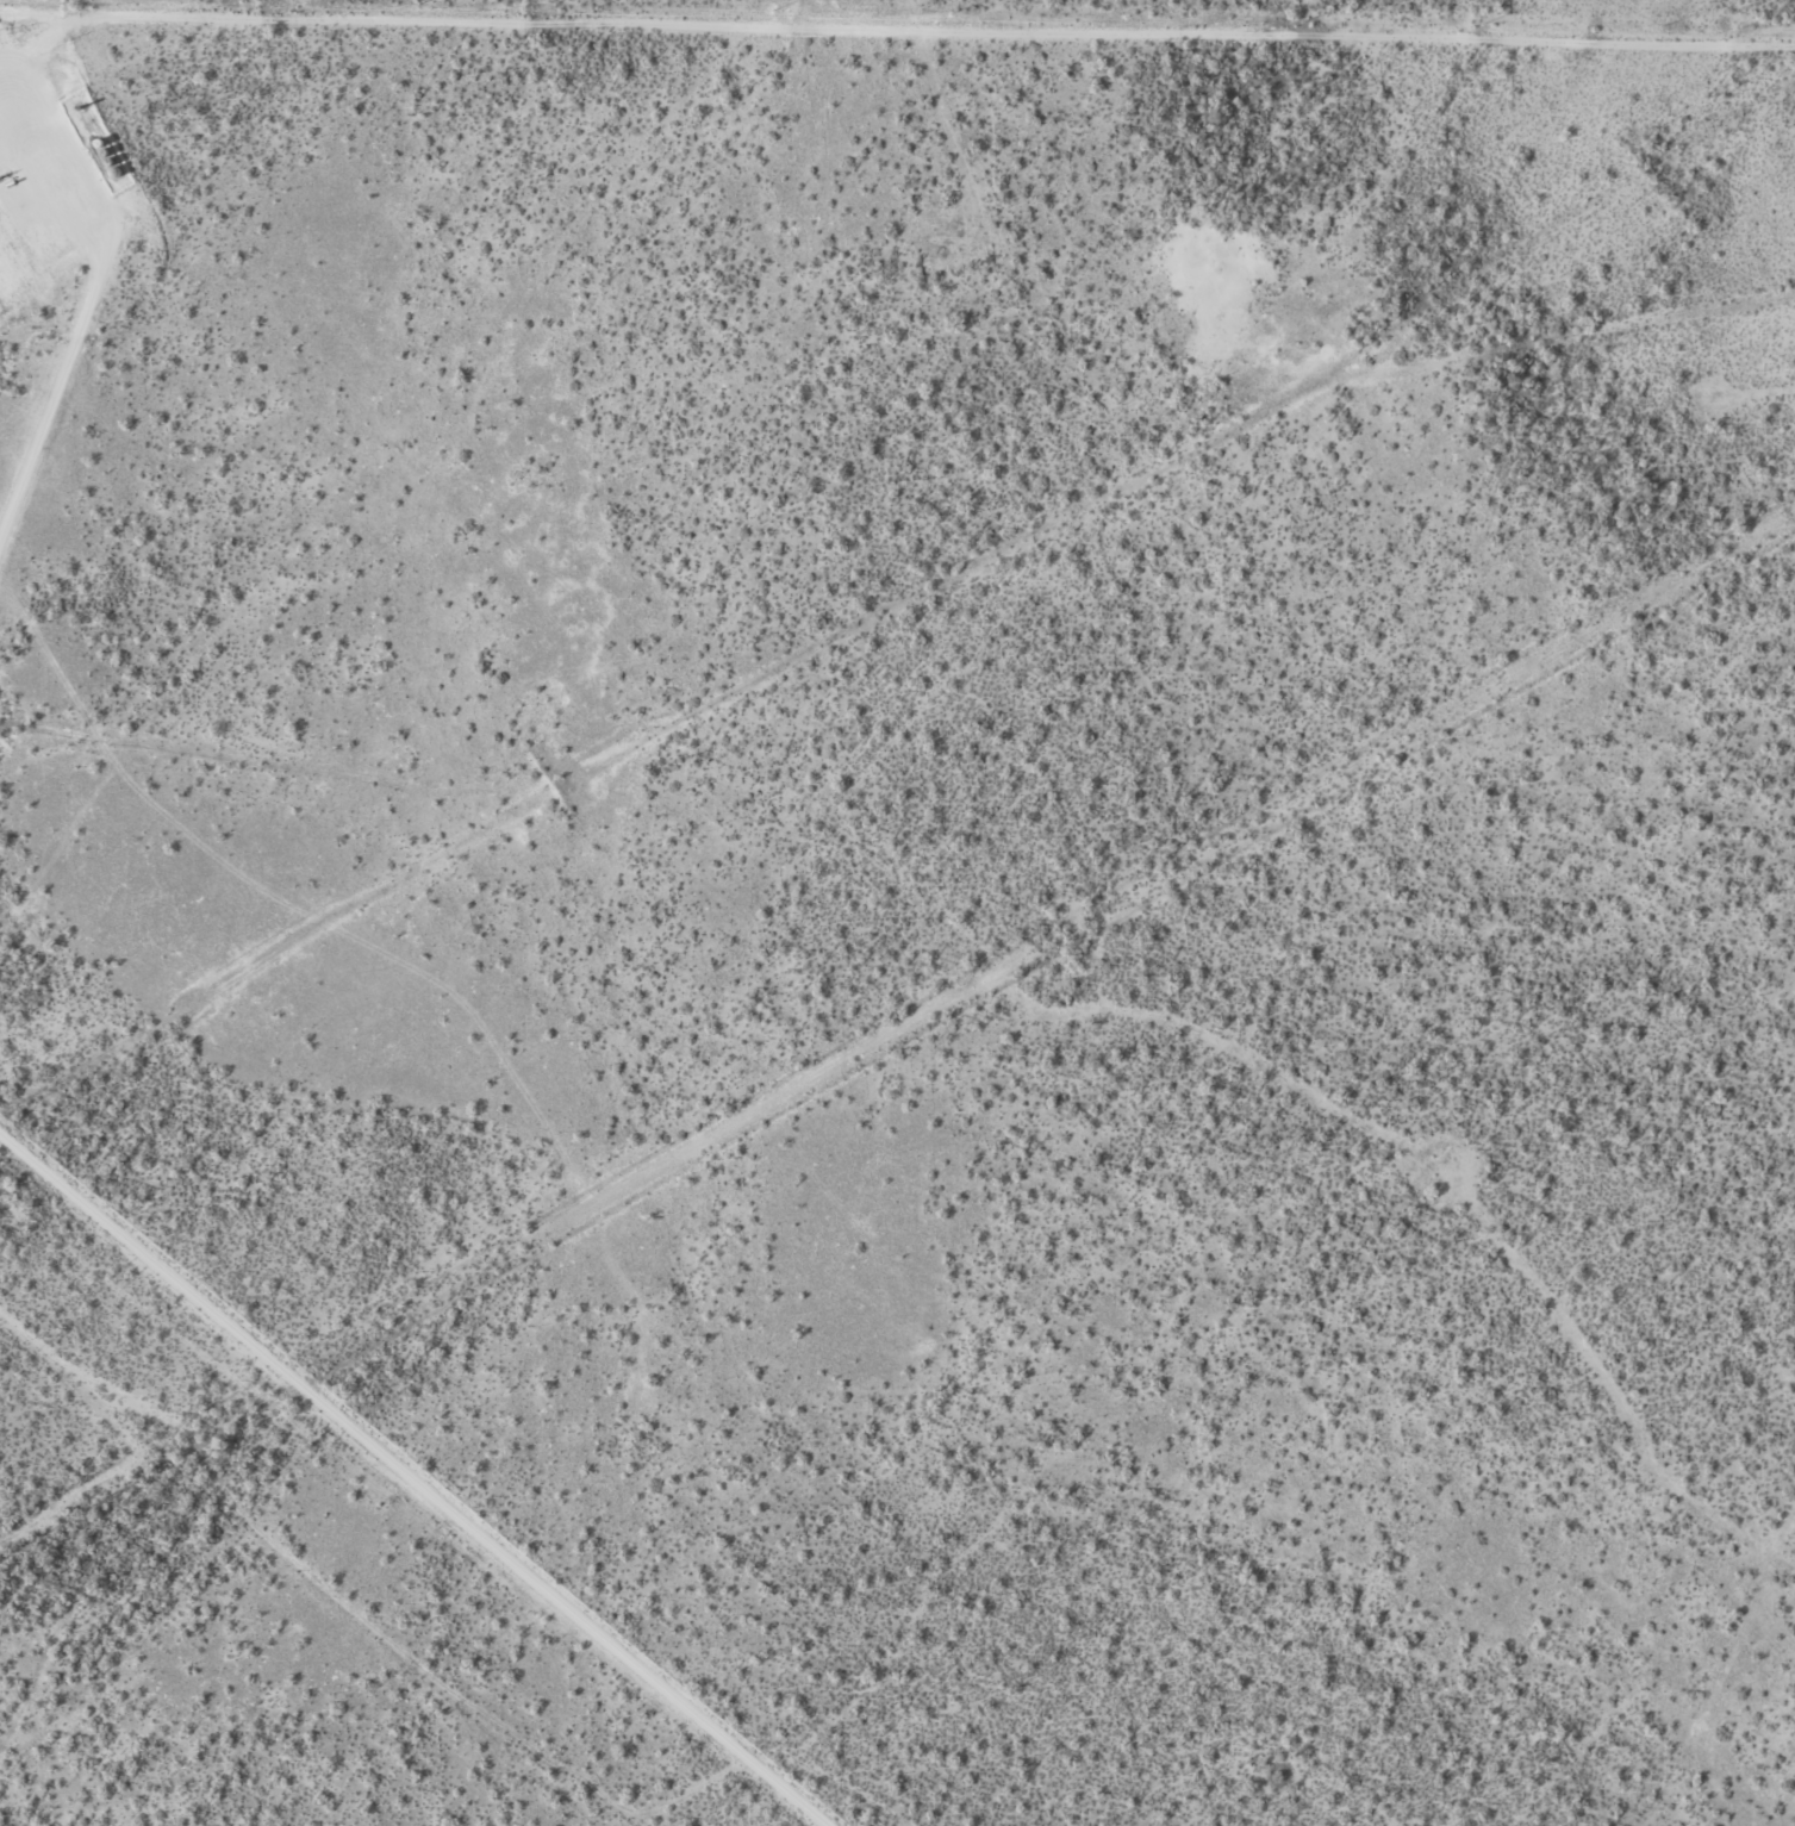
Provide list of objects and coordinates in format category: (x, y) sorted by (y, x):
road: (1572, 332)

